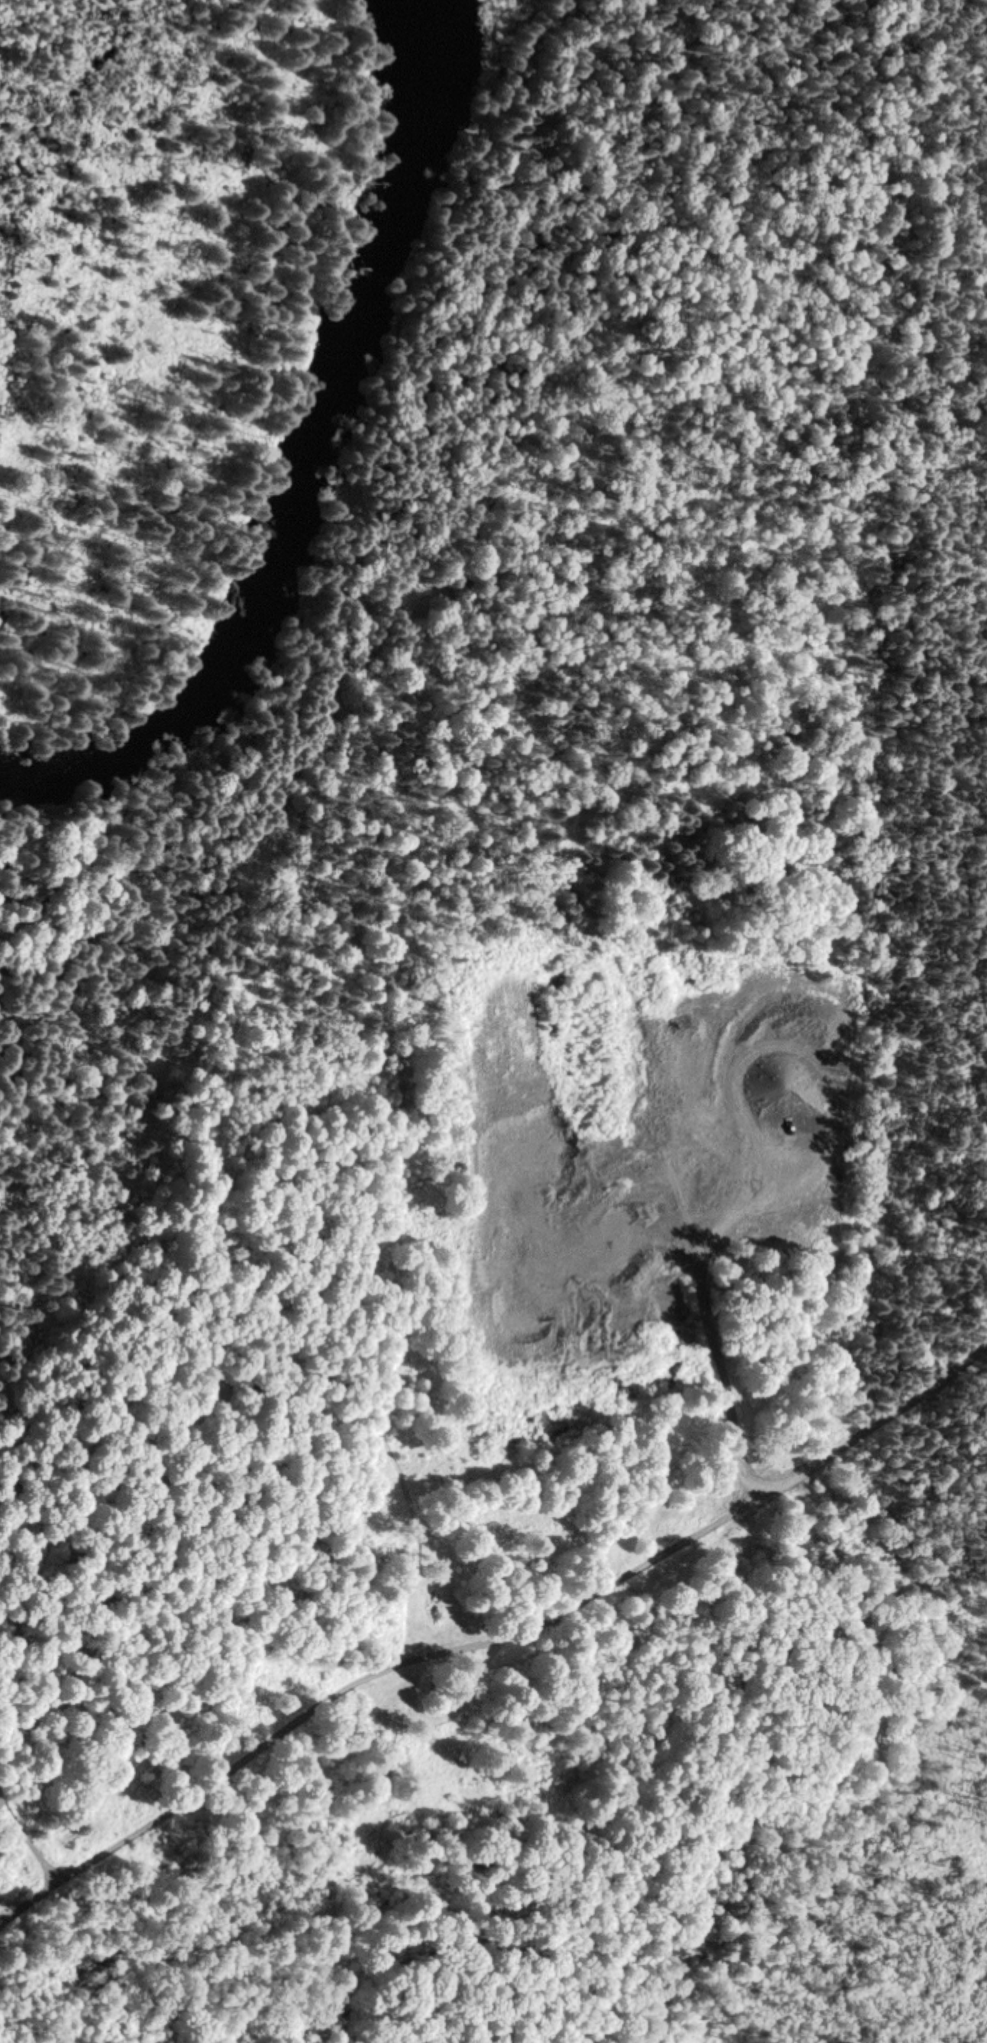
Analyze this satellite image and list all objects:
river: (313, 465)

